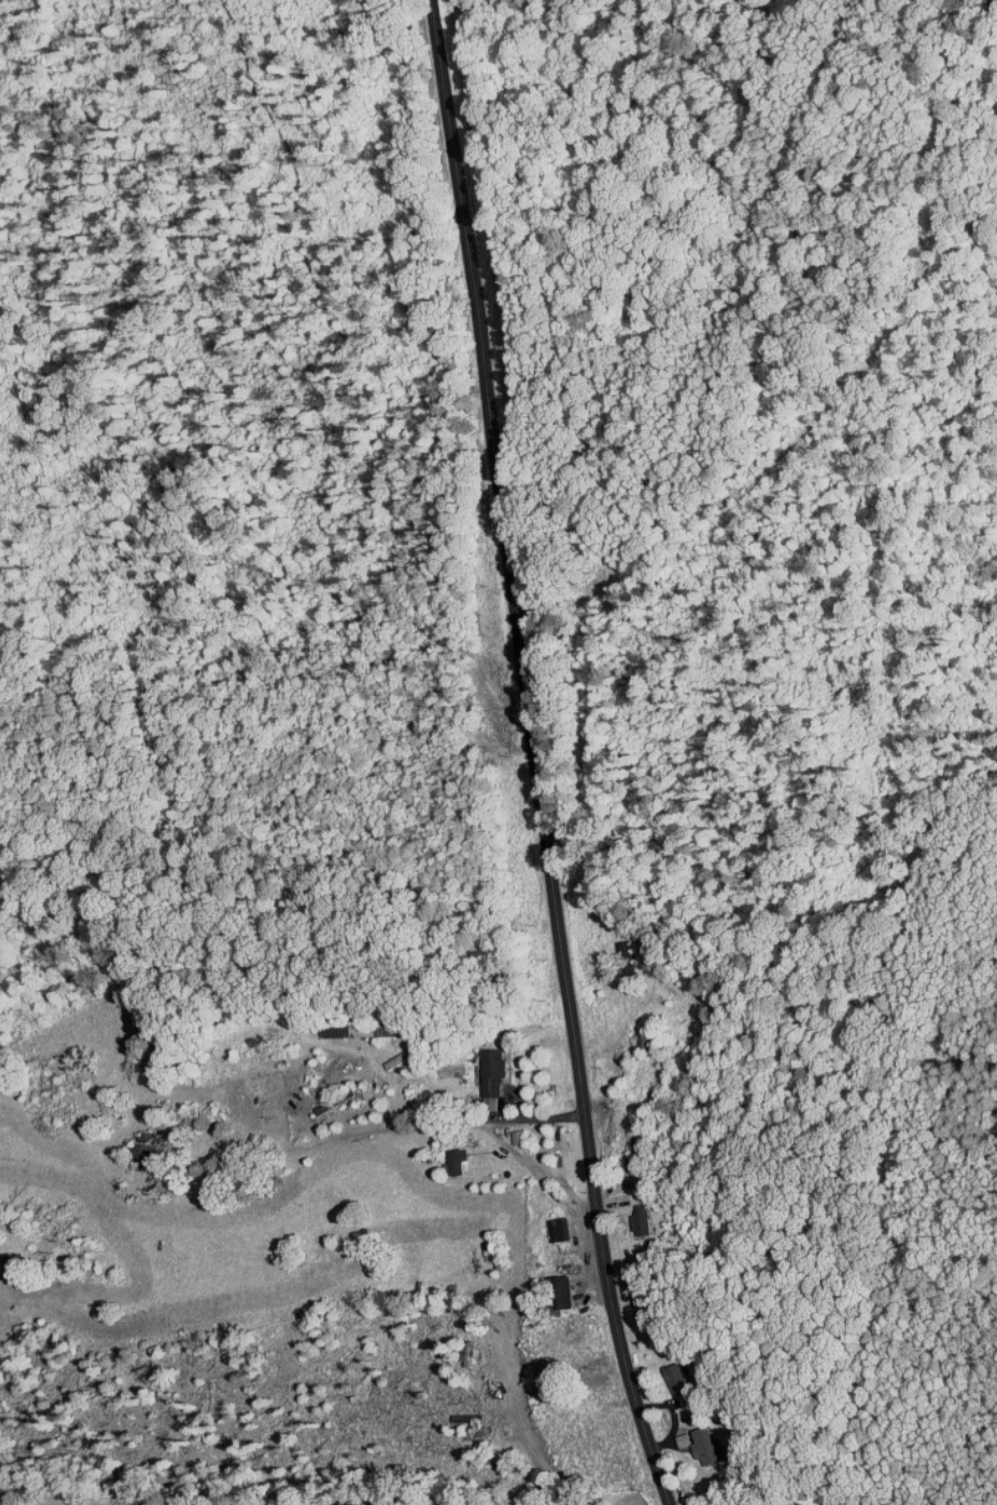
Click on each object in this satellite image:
road: (537, 758)
building: (483, 1072)
road: (447, 1097)
building: (313, 1102)
building: (508, 1130)
road: (494, 1146)
building: (445, 1156)
building: (632, 1214)
building: (549, 1224)
building: (552, 1286)
building: (463, 1349)
building: (667, 1371)
building: (690, 1438)

